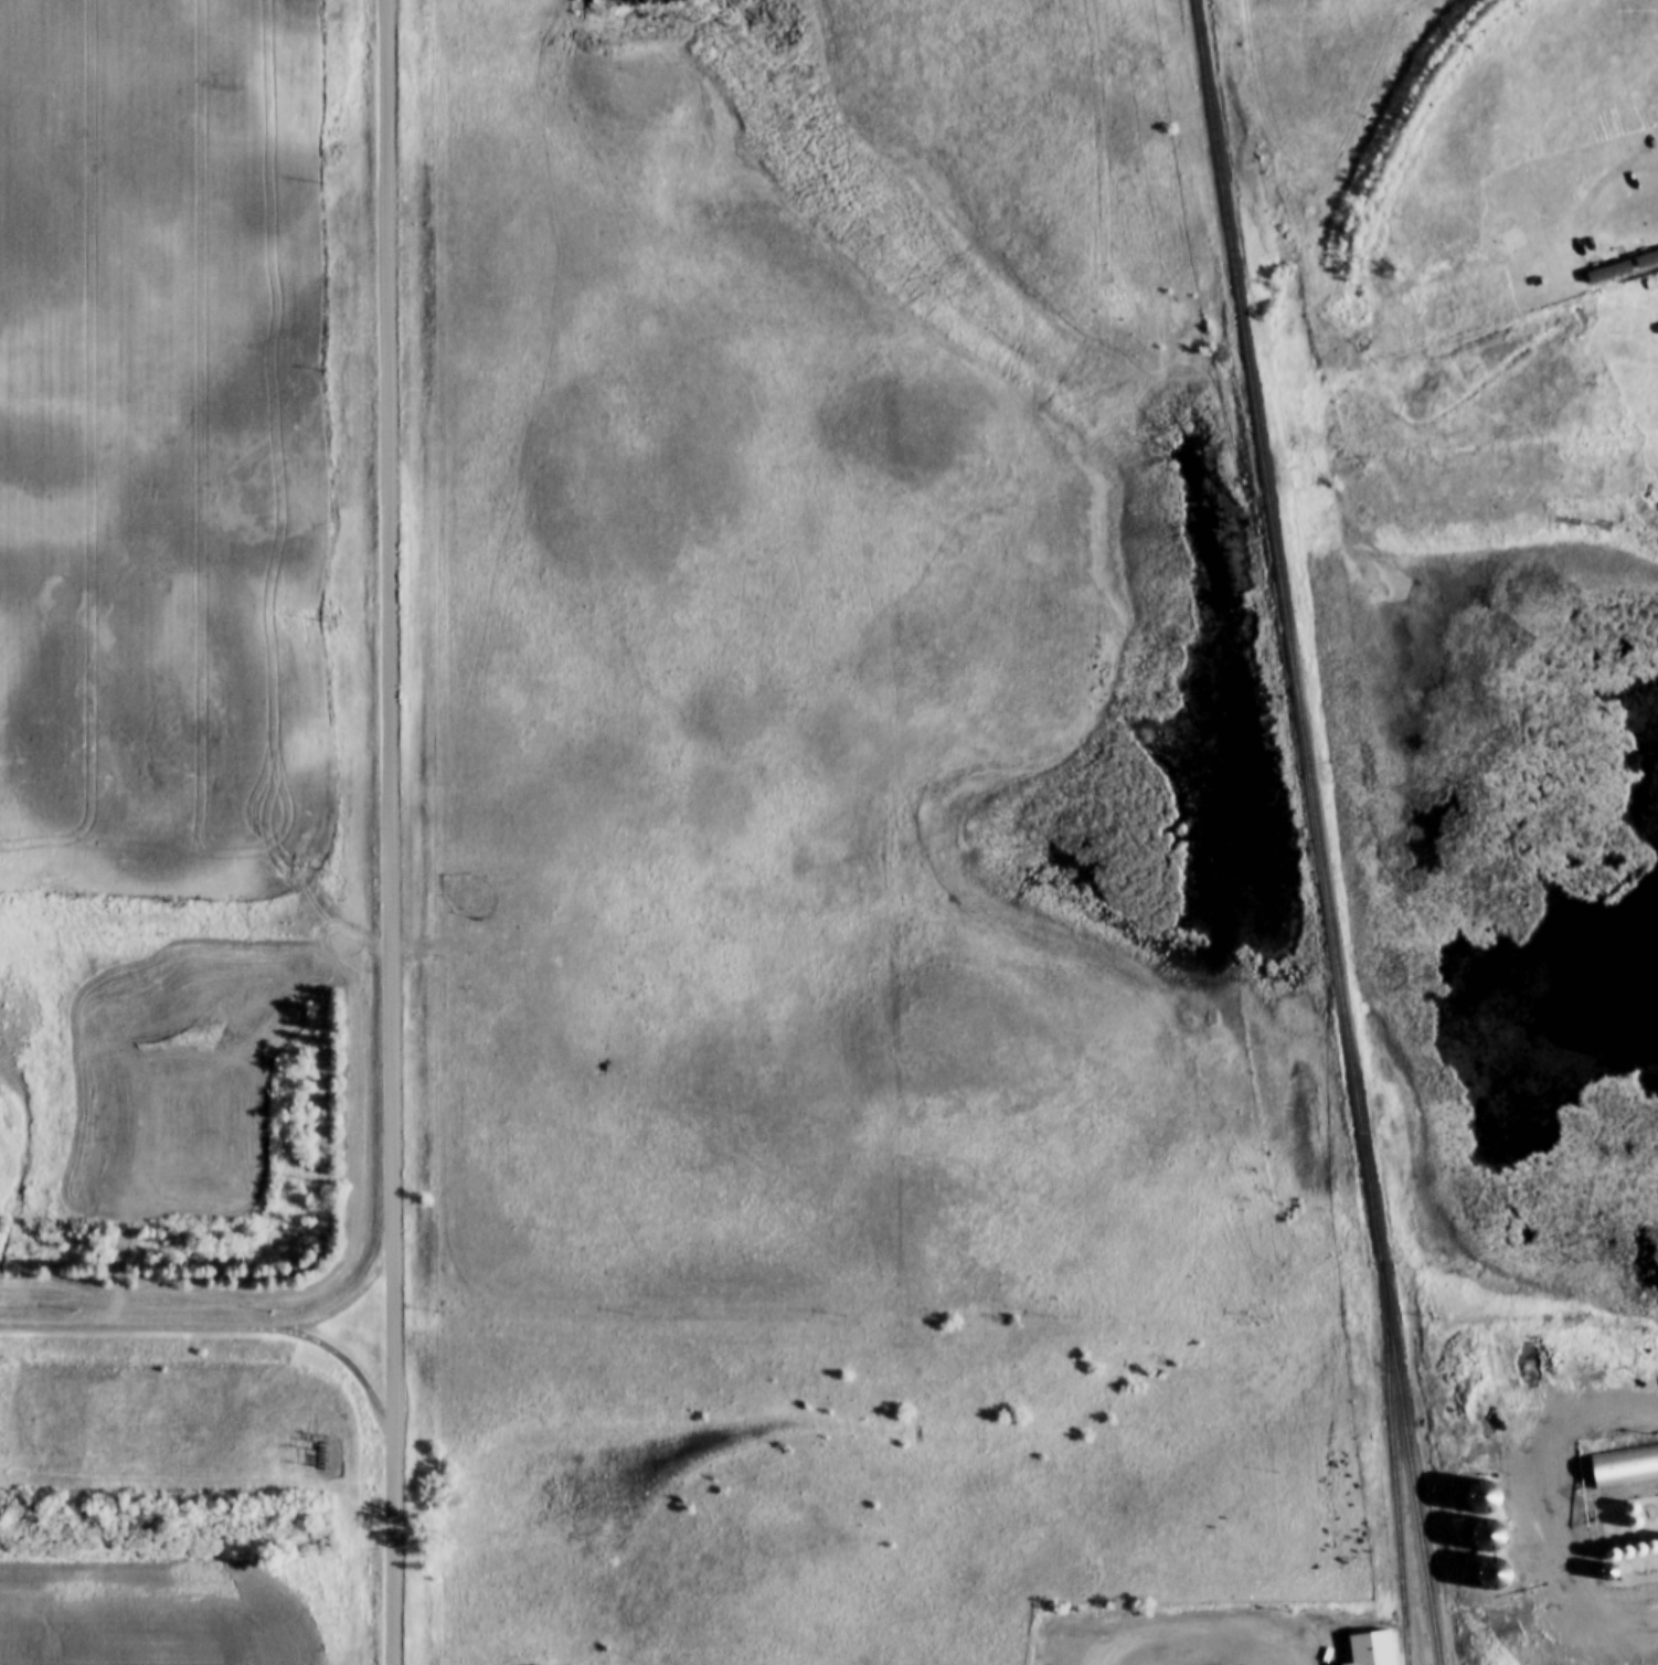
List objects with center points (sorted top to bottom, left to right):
building: (1656, 244)
building: (1620, 258)
road: (393, 831)
railway: (1320, 831)
road: (216, 1330)
building: (1438, 1338)
road: (355, 1370)
railway: (1392, 1450)
building: (1625, 1466)
building: (1486, 1497)
road: (1565, 1506)
building: (1497, 1573)
road: (1215, 1641)
building: (1372, 1648)

